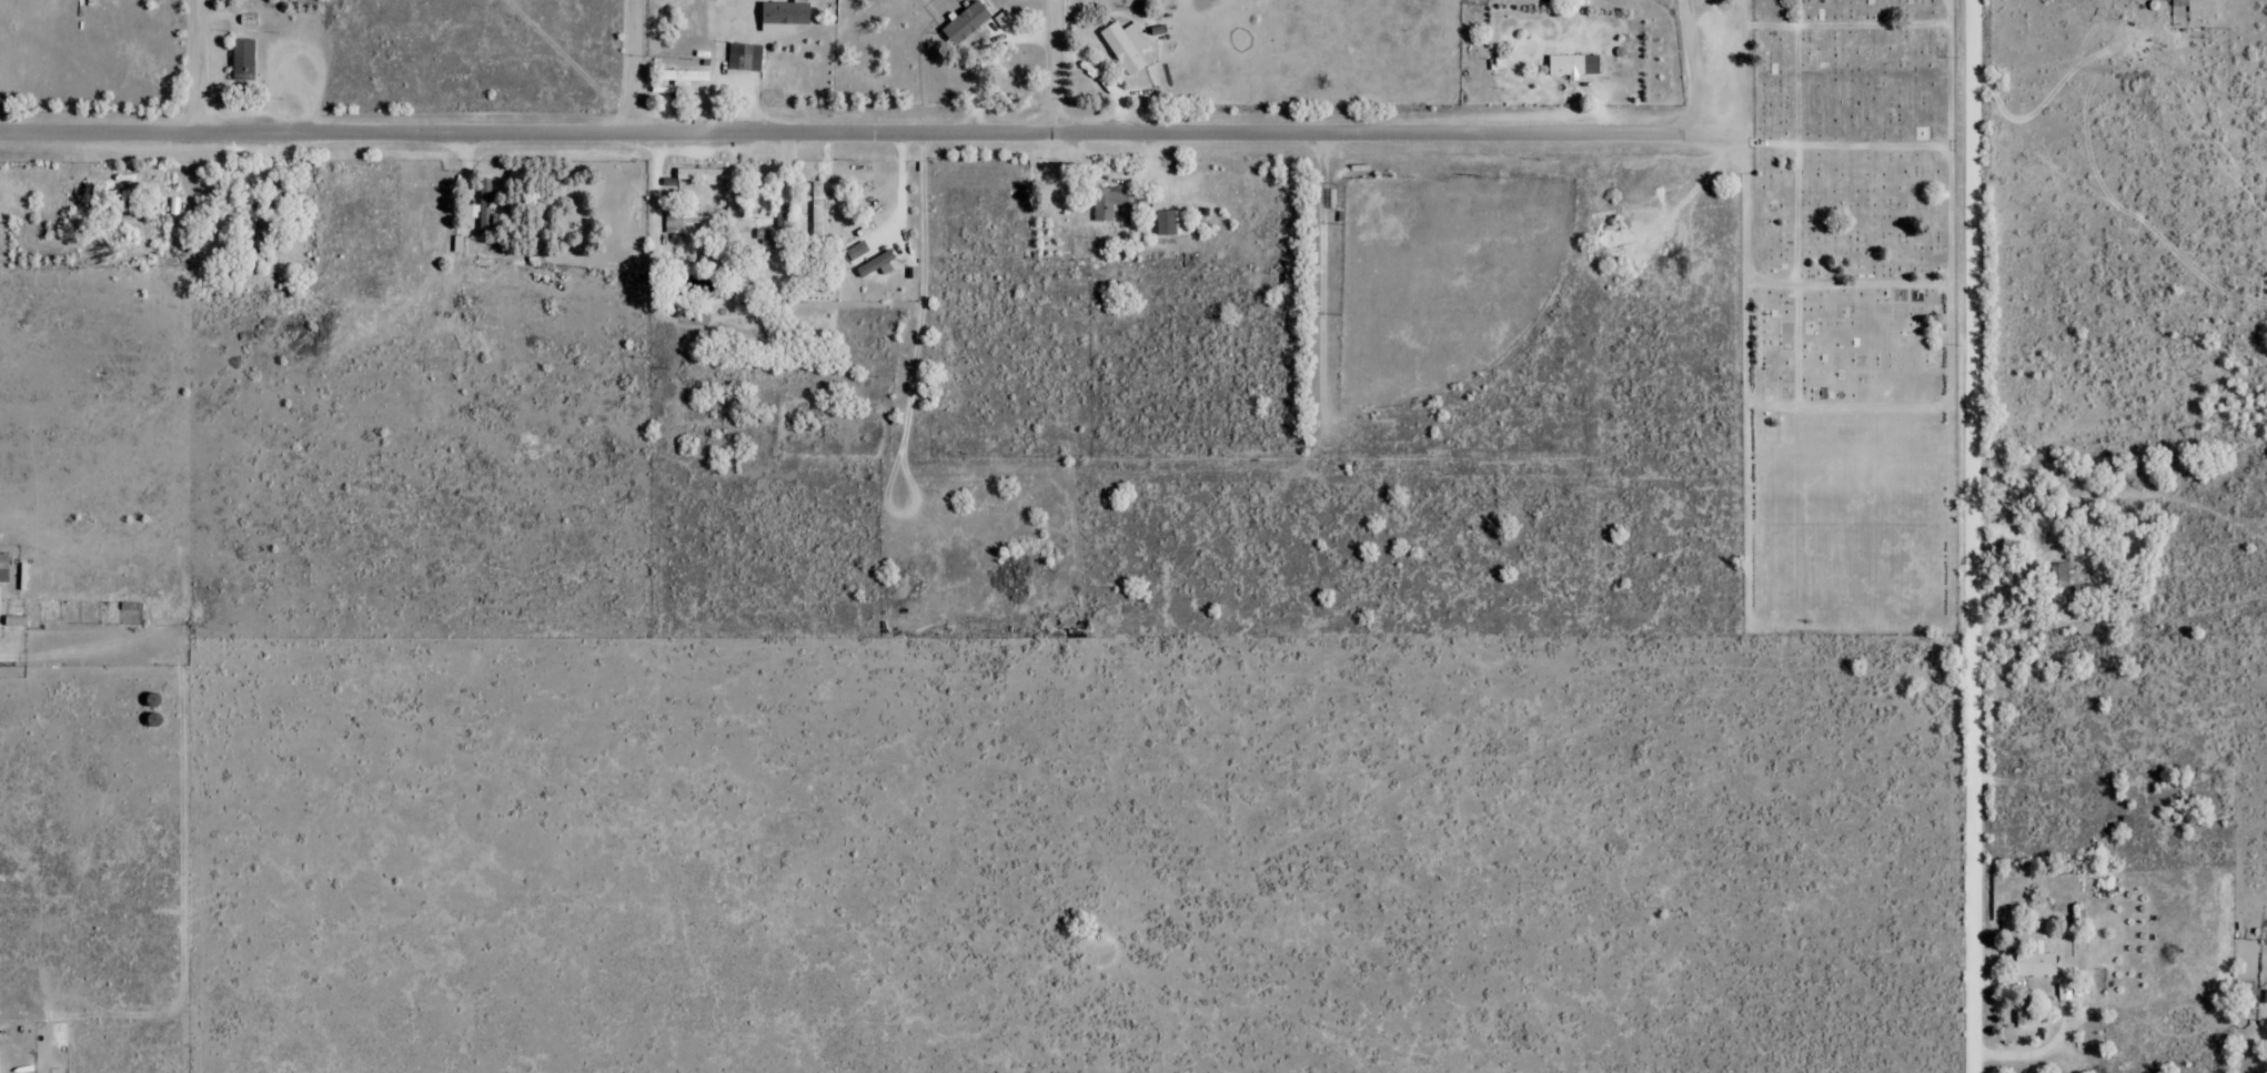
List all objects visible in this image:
building: (2180, 2)
road: (1848, 20)
building: (965, 22)
building: (1125, 45)
building: (243, 60)
road: (1050, 64)
building: (1573, 64)
road: (634, 65)
road: (1699, 67)
building: (764, 68)
road: (197, 69)
building: (683, 75)
road: (866, 129)
road: (1850, 140)
road: (1535, 146)
road: (1343, 159)
road: (1580, 160)
road: (1336, 171)
building: (702, 174)
building: (128, 201)
road: (1801, 201)
building: (1111, 203)
building: (817, 209)
building: (681, 221)
building: (1172, 222)
road: (1656, 229)
building: (766, 237)
park: (1444, 273)
road: (1850, 280)
road: (1328, 286)
road: (1750, 311)
road: (1954, 311)
park: (1853, 317)
road: (1513, 345)
road: (1542, 366)
road: (1851, 403)
road: (1333, 411)
road: (1975, 536)
building: (3, 566)
building: (2062, 581)
building: (130, 605)
road: (1854, 621)
building: (2123, 823)
building: (2035, 962)
building: (2266, 996)
road: (2253, 1046)
road: (2038, 1053)

